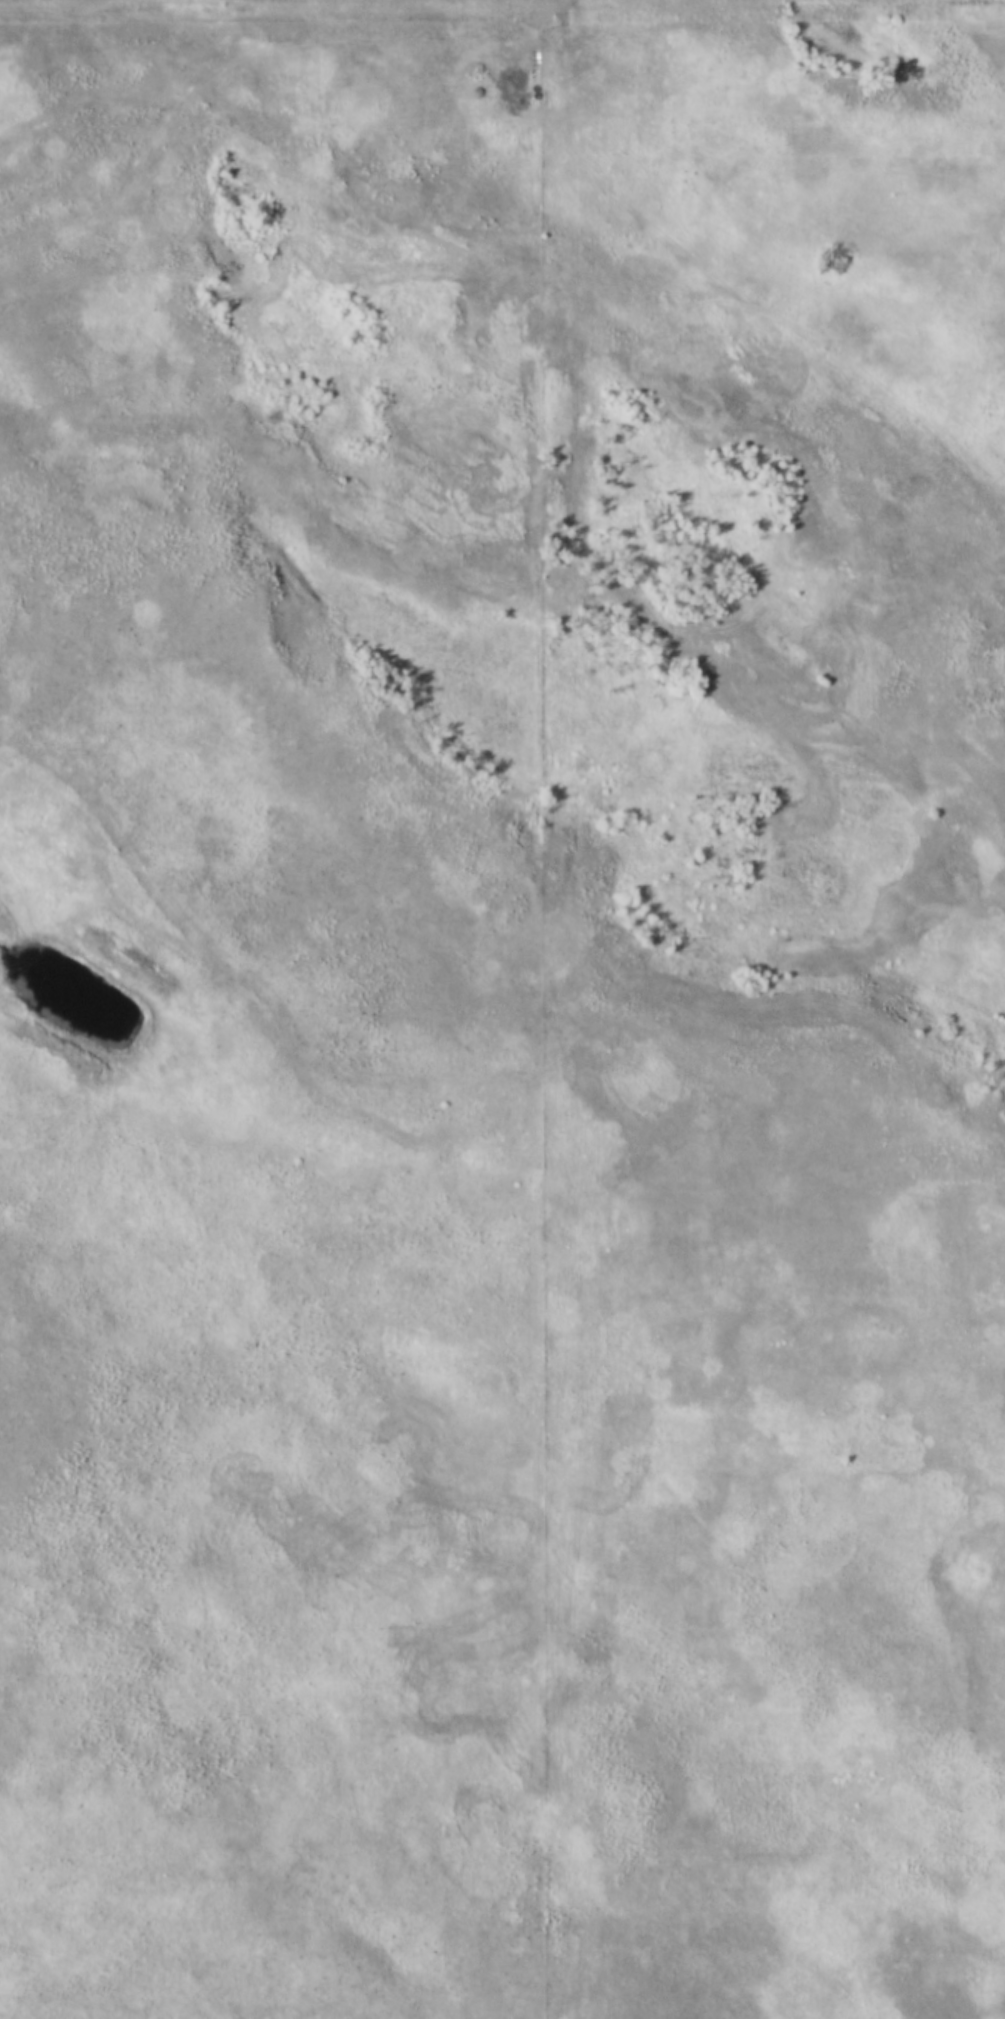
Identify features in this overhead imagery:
road: (574, 1009)

